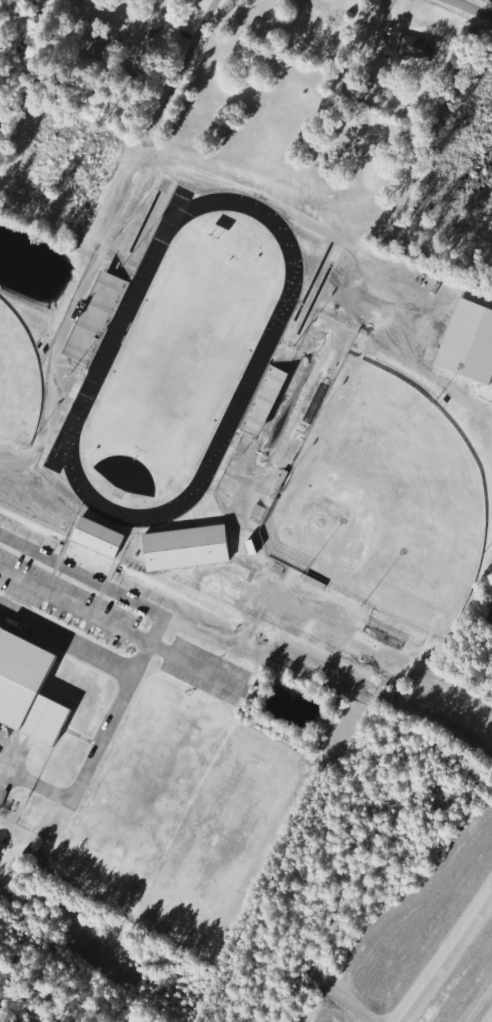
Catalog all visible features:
road: (477, 6)
building: (417, 46)
building: (97, 317)
building: (467, 343)
park: (183, 361)
track: (259, 364)
park: (17, 385)
park: (382, 503)
building: (98, 538)
building: (186, 549)
parking lot: (67, 604)
building: (27, 692)
building: (2, 847)
road: (445, 961)
road: (486, 1014)

